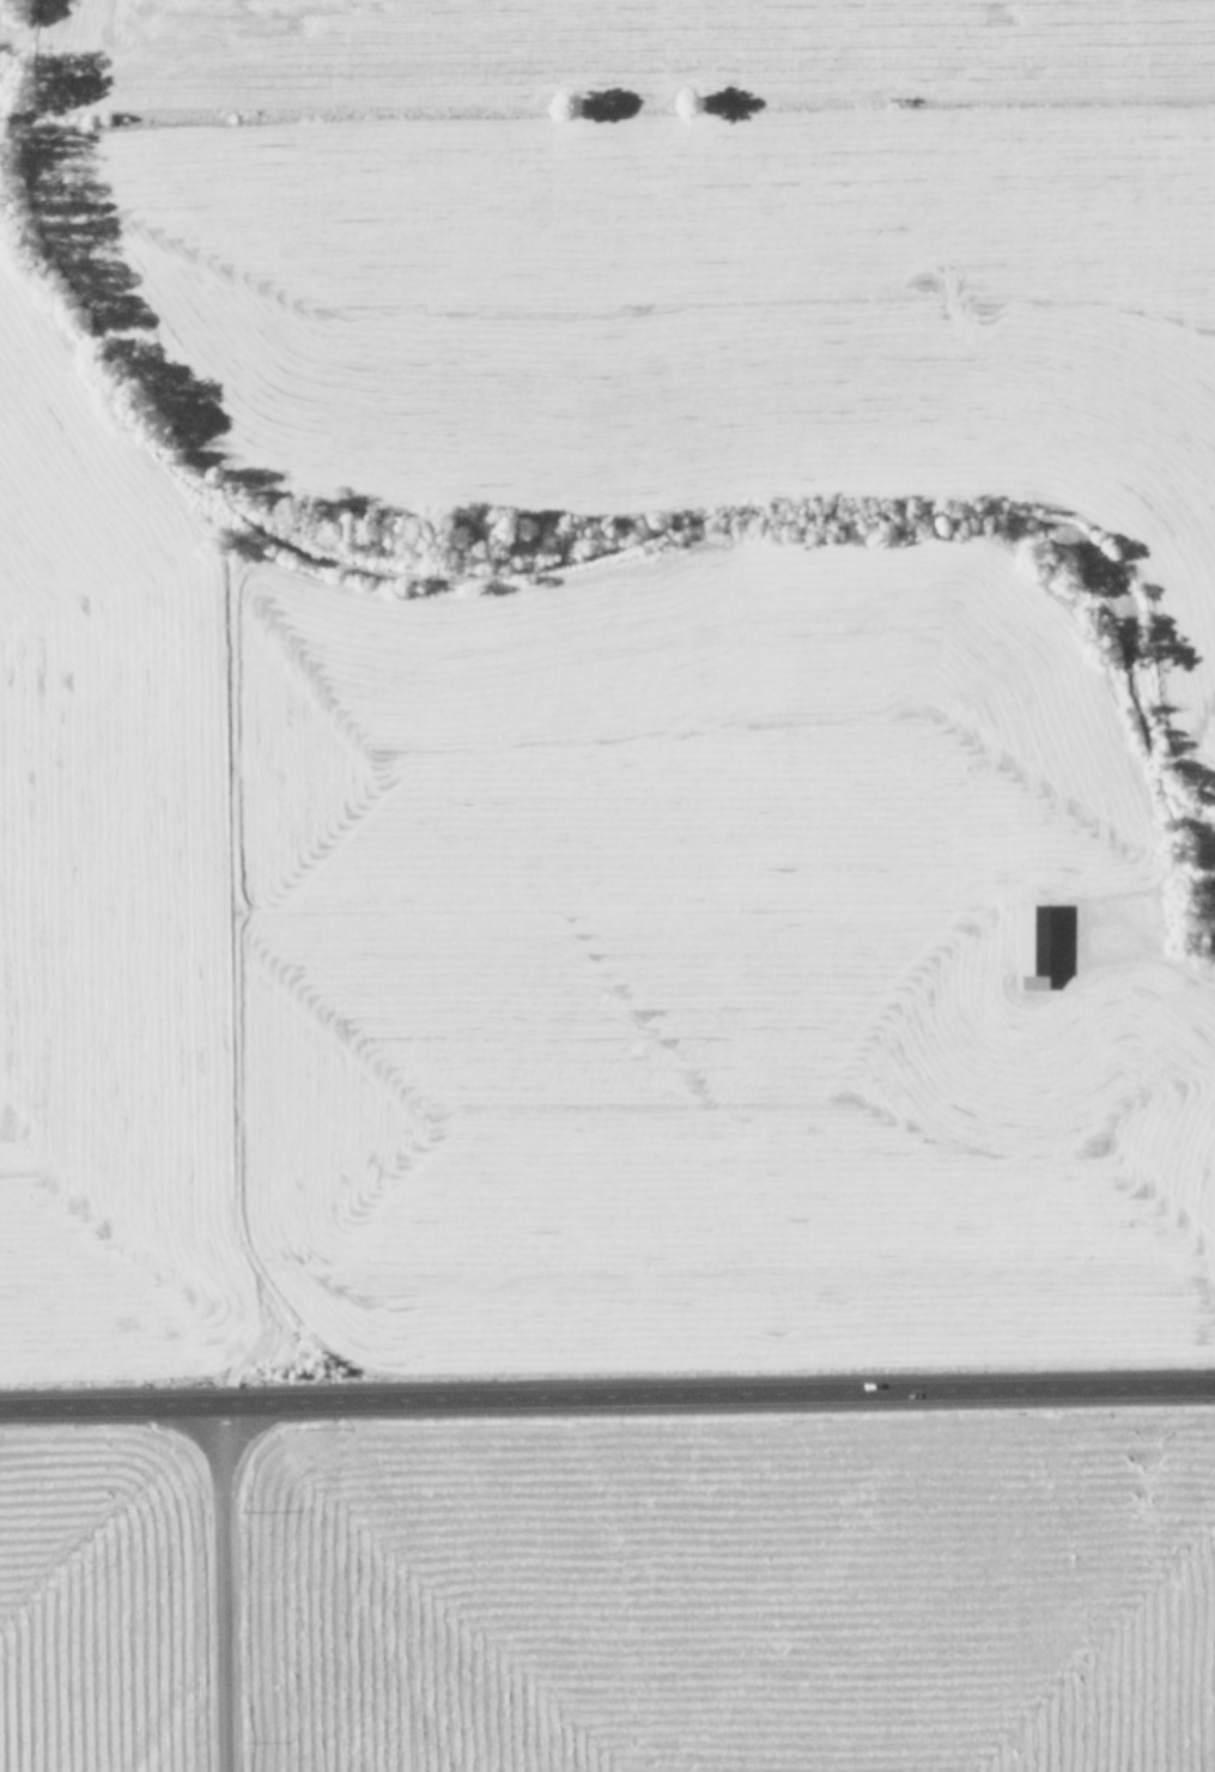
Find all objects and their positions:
crop: (605, 669)
building: (1029, 946)
road: (607, 1401)
road: (223, 1590)
crop: (735, 1608)
crop: (92, 1619)

